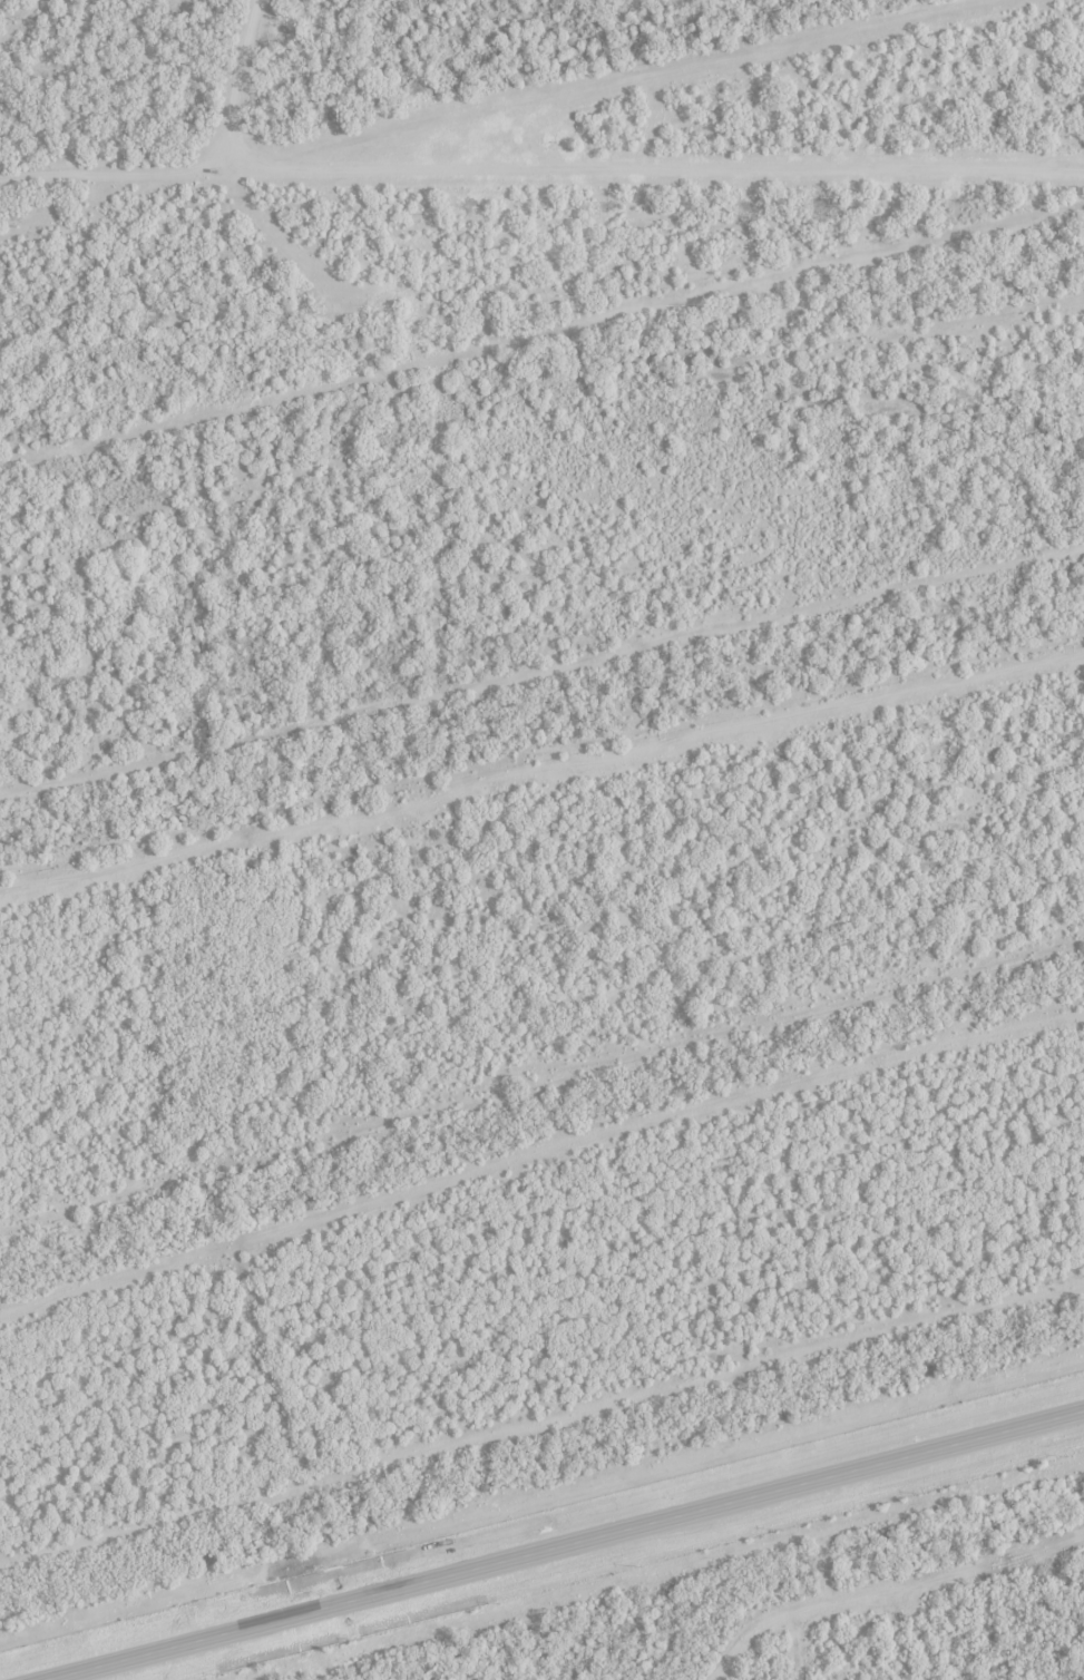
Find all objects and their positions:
road: (126, 108)
road: (541, 219)
road: (563, 1544)

